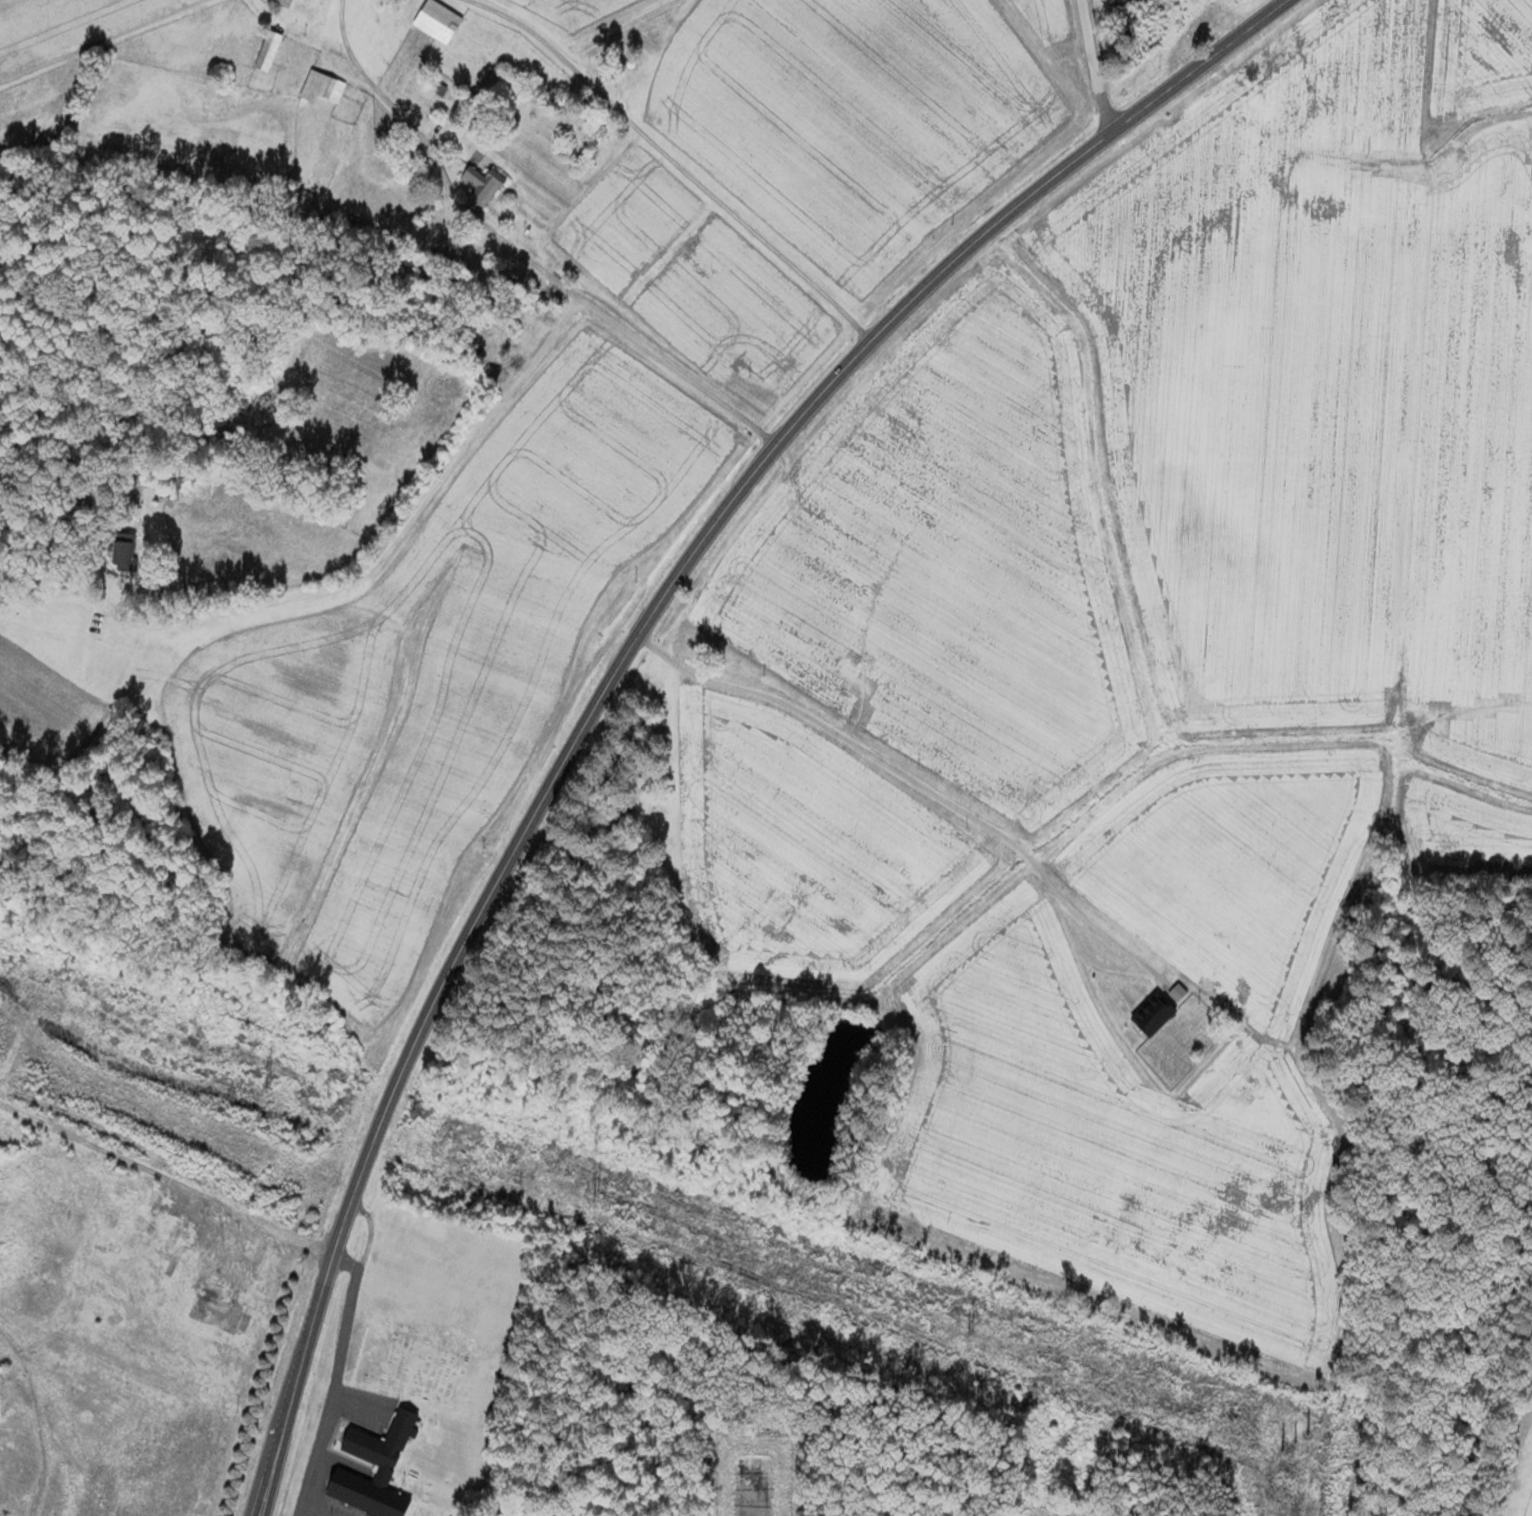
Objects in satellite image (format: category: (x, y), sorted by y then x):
building: (287, 3)
building: (439, 21)
building: (269, 51)
road: (1100, 65)
building: (1259, 65)
building: (324, 86)
building: (415, 97)
park: (581, 133)
road: (676, 163)
building: (484, 185)
road: (520, 252)
road: (750, 480)
road: (395, 536)
building: (125, 549)
building: (687, 646)
road: (971, 824)
building: (1151, 1003)
road: (370, 1236)
road: (322, 1308)
road: (334, 1383)
building: (381, 1457)
road: (315, 1509)

